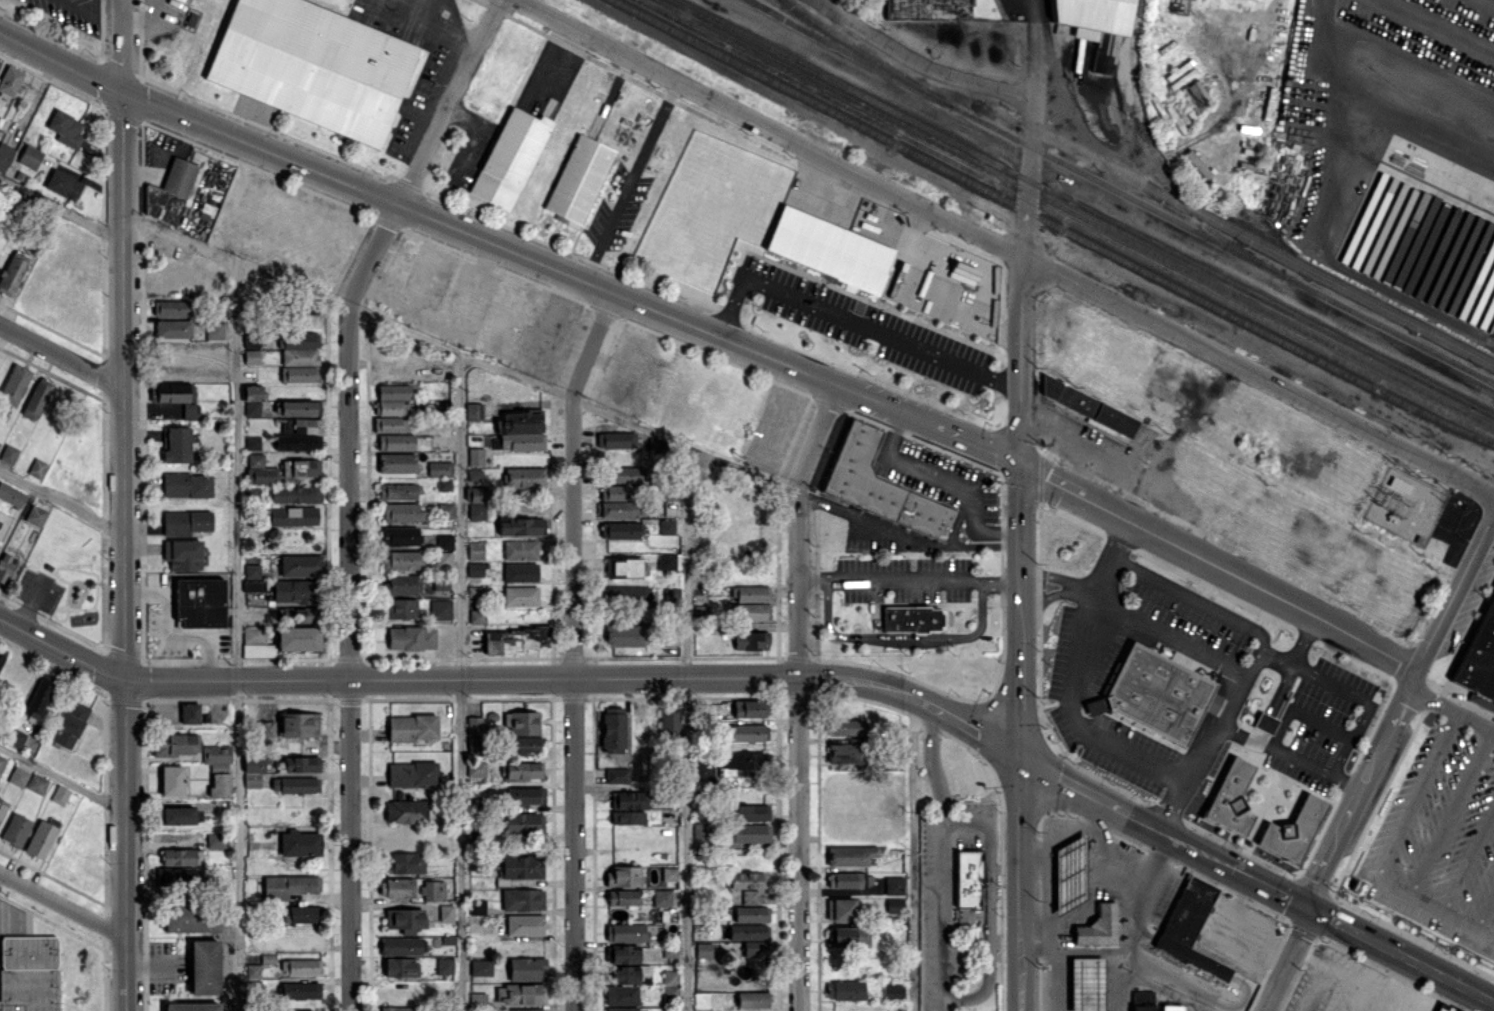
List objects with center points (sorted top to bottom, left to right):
building: (926, 9)
road: (91, 11)
road: (414, 13)
building: (1094, 25)
road: (119, 46)
railway: (850, 53)
railway: (865, 57)
road: (1344, 59)
building: (0, 61)
road: (59, 62)
road: (1032, 64)
building: (312, 65)
road: (556, 66)
building: (10, 80)
building: (1195, 95)
road: (447, 101)
road: (1383, 114)
road: (767, 127)
building: (64, 128)
road: (471, 133)
building: (4, 155)
building: (29, 156)
building: (509, 157)
railway: (1157, 163)
building: (1196, 163)
building: (578, 178)
road: (630, 181)
building: (63, 184)
building: (169, 191)
road: (1026, 191)
road: (59, 206)
railway: (1083, 208)
building: (10, 209)
railway: (1074, 214)
railway: (1063, 219)
railway: (1053, 224)
building: (1414, 241)
railway: (1222, 244)
road: (1262, 246)
building: (827, 248)
building: (1436, 252)
road: (371, 254)
building: (962, 272)
building: (11, 274)
road: (570, 275)
building: (1457, 290)
building: (1470, 291)
building: (170, 307)
building: (1486, 311)
road: (852, 322)
parking lot: (858, 324)
building: (173, 328)
building: (214, 330)
road: (591, 343)
building: (251, 351)
building: (299, 356)
road: (60, 357)
road: (1021, 358)
road: (1257, 374)
road: (524, 375)
building: (14, 384)
road: (119, 386)
building: (175, 396)
building: (251, 398)
building: (392, 399)
building: (35, 400)
building: (1086, 405)
building: (299, 407)
building: (473, 410)
building: (390, 424)
building: (520, 430)
building: (299, 434)
road: (816, 438)
building: (616, 439)
building: (395, 441)
road: (1073, 441)
building: (252, 442)
building: (175, 444)
building: (654, 445)
building: (8, 453)
building: (475, 456)
building: (255, 459)
building: (396, 462)
traffic signals: (1021, 463)
building: (36, 467)
building: (300, 467)
building: (439, 468)
building: (474, 474)
building: (622, 474)
building: (261, 475)
building: (524, 476)
building: (878, 480)
building: (443, 483)
road: (949, 483)
building: (187, 484)
building: (396, 491)
building: (613, 492)
building: (295, 494)
building: (11, 495)
road: (60, 497)
building: (476, 502)
building: (616, 508)
building: (445, 510)
building: (401, 512)
building: (34, 515)
building: (290, 515)
building: (186, 521)
building: (518, 526)
building: (666, 526)
building: (619, 529)
building: (399, 535)
building: (444, 541)
road: (974, 543)
building: (474, 549)
building: (520, 549)
building: (182, 553)
building: (403, 559)
building: (444, 559)
building: (665, 561)
building: (4, 565)
building: (300, 565)
building: (622, 567)
road: (1220, 567)
building: (475, 569)
building: (519, 571)
building: (252, 577)
road: (1057, 577)
road: (908, 579)
road: (796, 583)
building: (401, 584)
building: (440, 584)
building: (292, 590)
building: (474, 591)
building: (749, 593)
building: (626, 594)
road: (1451, 594)
building: (519, 595)
building: (671, 595)
road: (1046, 597)
building: (199, 602)
building: (398, 608)
building: (440, 609)
road: (1020, 610)
building: (753, 611)
building: (297, 613)
building: (477, 616)
building: (910, 618)
road: (235, 634)
road: (1170, 634)
building: (624, 635)
building: (411, 637)
building: (297, 638)
building: (516, 639)
road: (901, 639)
building: (750, 640)
building: (256, 642)
road: (60, 649)
road: (1295, 656)
road: (349, 657)
building: (1, 658)
building: (1481, 660)
road: (1079, 676)
road: (518, 679)
road: (459, 680)
building: (1155, 694)
building: (38, 698)
road: (572, 702)
building: (1211, 702)
road: (1272, 704)
building: (748, 708)
road: (1450, 710)
building: (189, 713)
building: (669, 720)
building: (523, 722)
building: (1263, 722)
building: (70, 724)
building: (298, 724)
building: (474, 725)
road: (967, 725)
building: (843, 726)
building: (412, 727)
road: (683, 727)
building: (613, 728)
building: (265, 731)
building: (746, 732)
road: (1213, 733)
building: (16, 738)
building: (175, 743)
building: (474, 744)
building: (523, 744)
building: (844, 752)
building: (216, 753)
road: (1293, 755)
traffic signals: (1020, 758)
building: (1, 761)
building: (299, 763)
building: (742, 763)
building: (478, 768)
building: (253, 770)
building: (521, 770)
building: (704, 771)
road: (61, 773)
building: (412, 773)
building: (616, 775)
building: (17, 776)
building: (171, 780)
building: (36, 783)
building: (219, 784)
building: (295, 784)
road: (1074, 786)
road: (1361, 793)
building: (59, 794)
building: (524, 795)
building: (1229, 799)
building: (628, 800)
building: (2, 805)
building: (405, 811)
building: (750, 812)
road: (1451, 812)
building: (181, 815)
building: (627, 817)
building: (523, 822)
building: (15, 829)
building: (1291, 829)
building: (701, 832)
building: (748, 832)
building: (40, 839)
building: (215, 840)
building: (299, 842)
road: (798, 845)
road: (122, 846)
road: (1193, 848)
road: (912, 854)
road: (1387, 854)
building: (850, 855)
building: (178, 856)
road: (940, 858)
road: (1468, 860)
building: (405, 862)
building: (521, 866)
building: (1069, 872)
building: (669, 873)
building: (623, 875)
building: (178, 876)
building: (746, 879)
building: (844, 879)
building: (965, 880)
building: (893, 884)
road: (1020, 884)
building: (289, 885)
building: (396, 887)
building: (433, 890)
building: (749, 895)
road: (1283, 895)
building: (622, 897)
building: (661, 897)
building: (522, 899)
road: (987, 902)
road: (62, 904)
building: (893, 904)
building: (477, 906)
traffic signals: (1309, 908)
building: (840, 909)
road: (1485, 911)
building: (446, 912)
building: (301, 913)
building: (751, 913)
building: (191, 918)
building: (405, 919)
road: (1334, 921)
building: (524, 924)
building: (1097, 926)
building: (1189, 927)
building: (630, 931)
building: (748, 931)
building: (848, 936)
building: (402, 945)
building: (755, 948)
road: (1074, 949)
building: (703, 950)
building: (669, 951)
building: (623, 953)
building: (267, 958)
road: (1285, 959)
building: (203, 966)
building: (300, 966)
building: (401, 966)
building: (444, 966)
building: (480, 966)
building: (527, 967)
road: (1427, 969)
building: (252, 970)
building: (29, 973)
building: (630, 974)
road: (1056, 980)
road: (1113, 980)
building: (670, 985)
building: (844, 989)
building: (300, 990)
building: (892, 990)
road: (1129, 991)
road: (1170, 991)
building: (520, 993)
building: (621, 994)
building: (751, 999)
building: (1142, 1000)
building: (479, 1001)
building: (191, 1006)
road: (1189, 1006)
building: (1170, 1007)
building: (400, 1008)
building: (1442, 1008)
building: (524, 1009)
building: (622, 1009)
building: (443, 1010)

